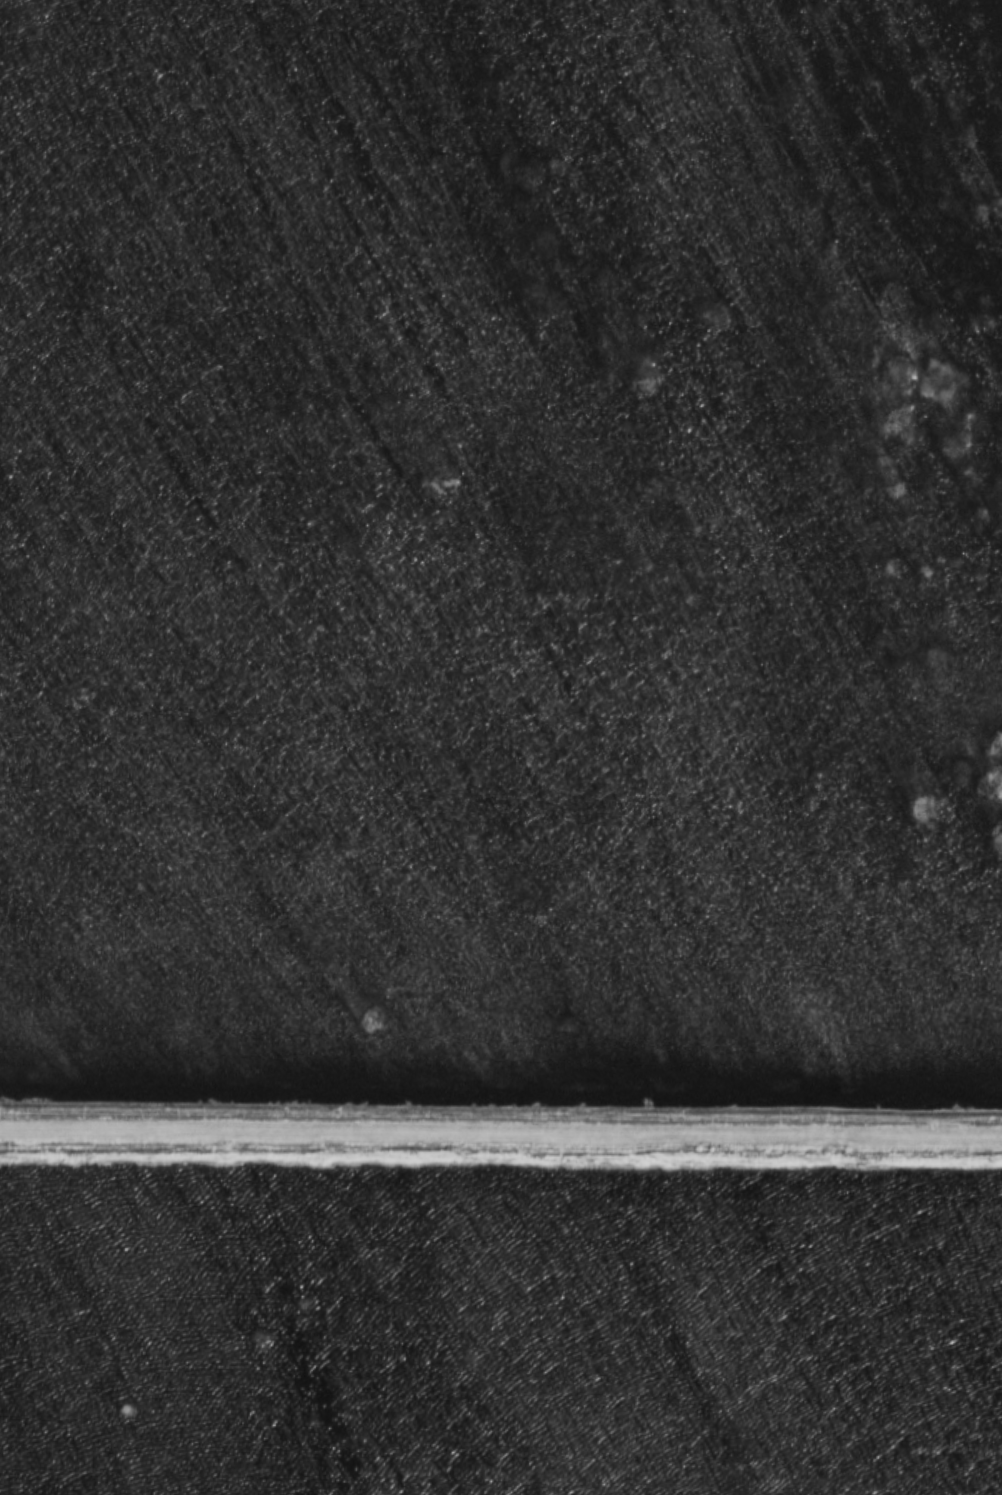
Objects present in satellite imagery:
wastewater plant: (501, 747)

